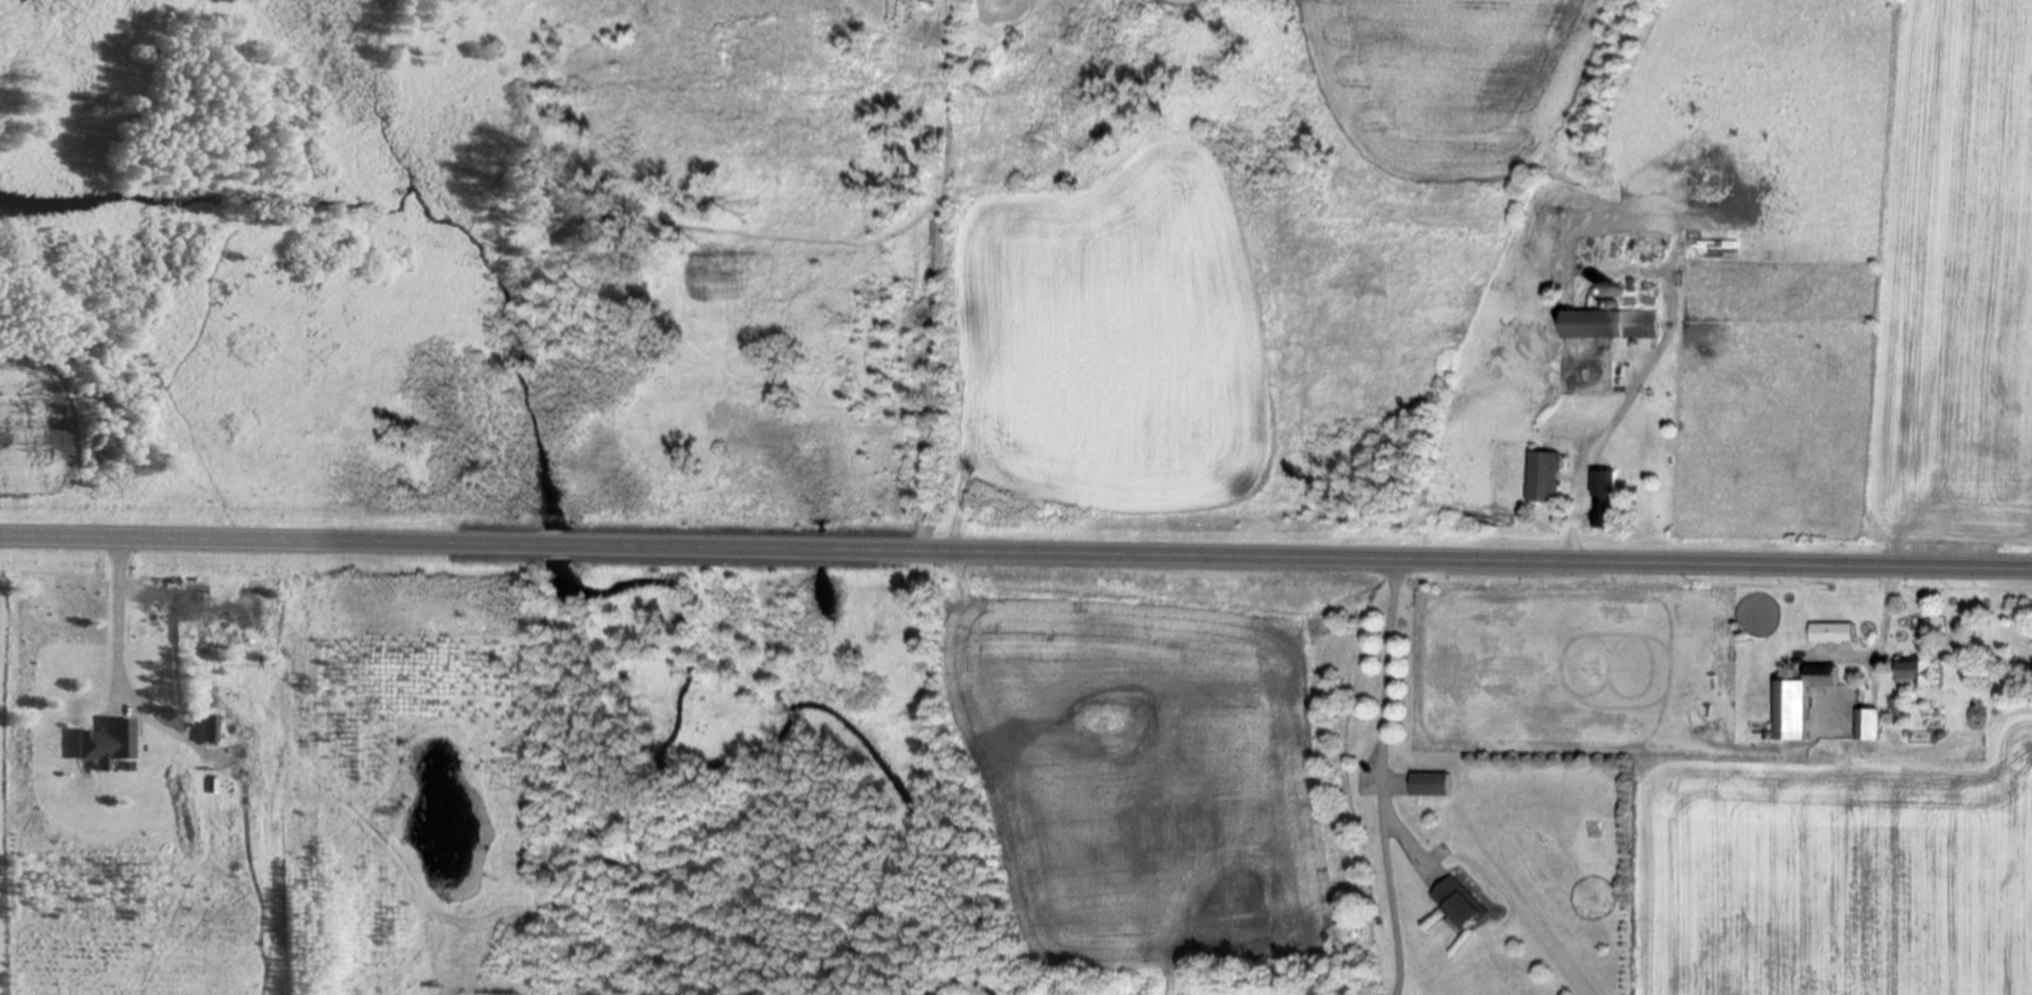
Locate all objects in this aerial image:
road: (930, 276)
building: (1605, 326)
road: (1613, 421)
building: (1539, 478)
building: (1601, 501)
road: (259, 541)
road: (561, 546)
road: (1318, 560)
road: (114, 616)
road: (1884, 618)
building: (1828, 633)
building: (1912, 674)
building: (1794, 702)
building: (1897, 709)
building: (1870, 725)
building: (206, 728)
building: (105, 744)
road: (1383, 778)
building: (1428, 786)
building: (1454, 906)

